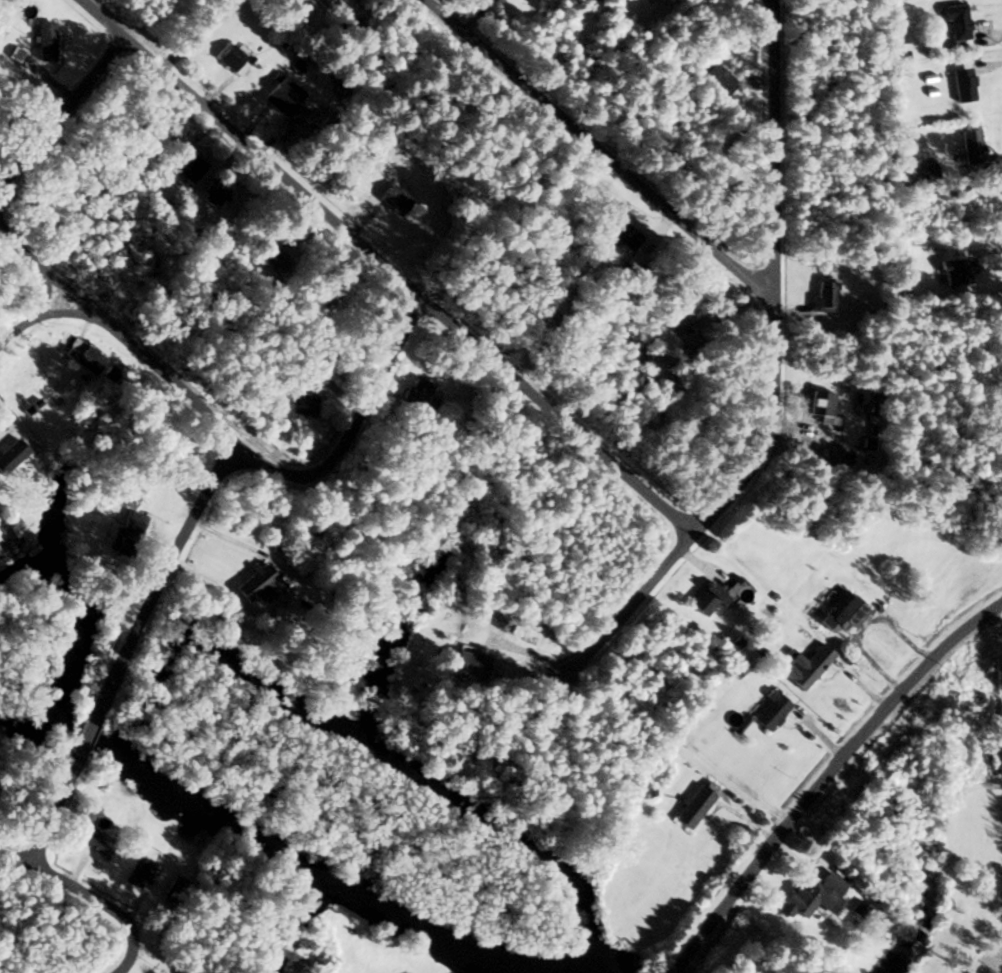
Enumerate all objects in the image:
building: (322, 2)
building: (954, 21)
building: (44, 41)
building: (231, 58)
building: (715, 77)
building: (962, 84)
building: (282, 95)
road: (62, 107)
building: (970, 145)
road: (600, 149)
building: (191, 165)
building: (212, 193)
building: (393, 199)
building: (620, 232)
building: (276, 261)
road: (387, 270)
building: (954, 271)
building: (824, 296)
road: (32, 315)
building: (664, 339)
building: (82, 357)
road: (775, 375)
building: (415, 392)
building: (297, 405)
building: (820, 405)
building: (429, 406)
road: (224, 426)
building: (10, 454)
building: (125, 525)
building: (253, 583)
building: (705, 598)
building: (840, 613)
road: (128, 647)
building: (466, 665)
building: (805, 666)
building: (769, 711)
road: (825, 777)
building: (695, 804)
building: (616, 820)
building: (96, 842)
building: (137, 872)
building: (173, 890)
road: (88, 893)
building: (805, 900)
road: (994, 967)

